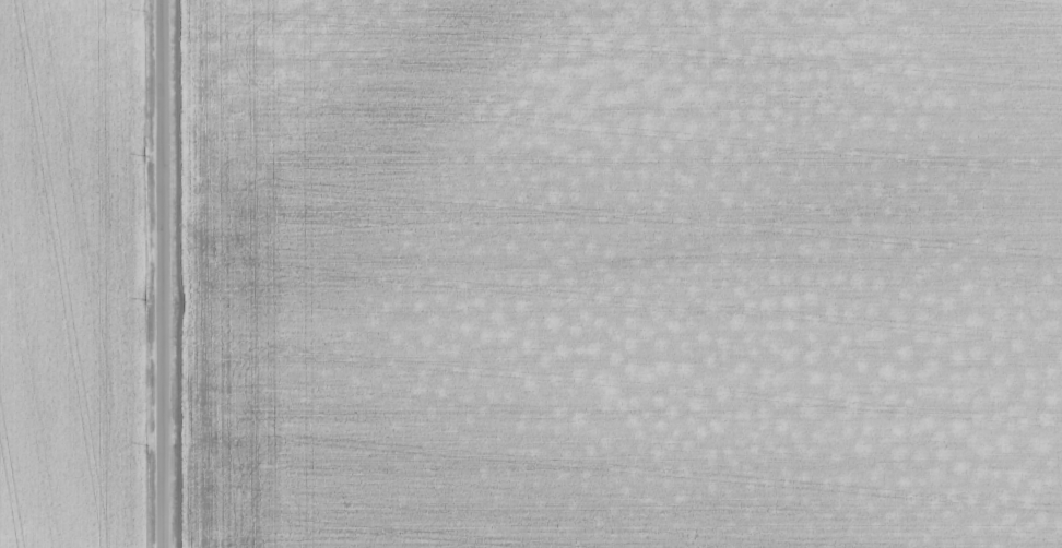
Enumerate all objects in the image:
road: (162, 274)

